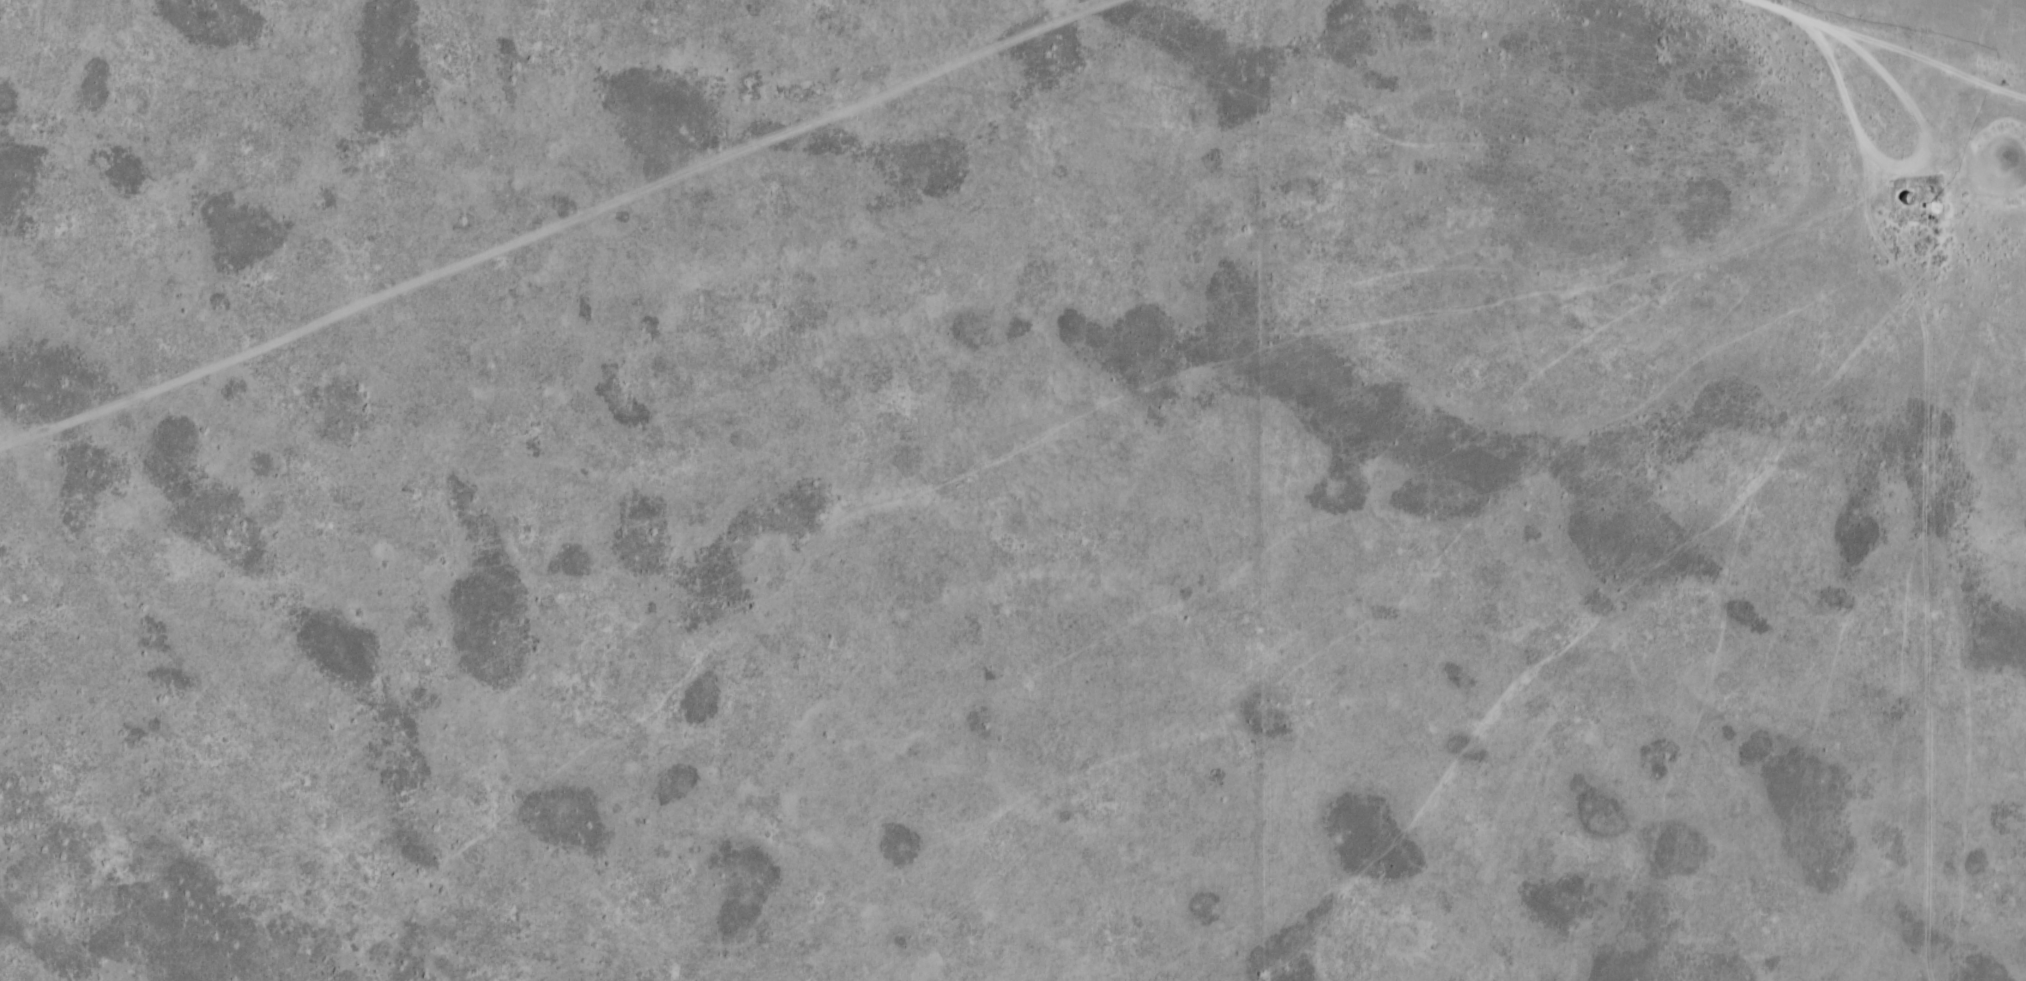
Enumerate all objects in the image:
road: (1973, 23)

